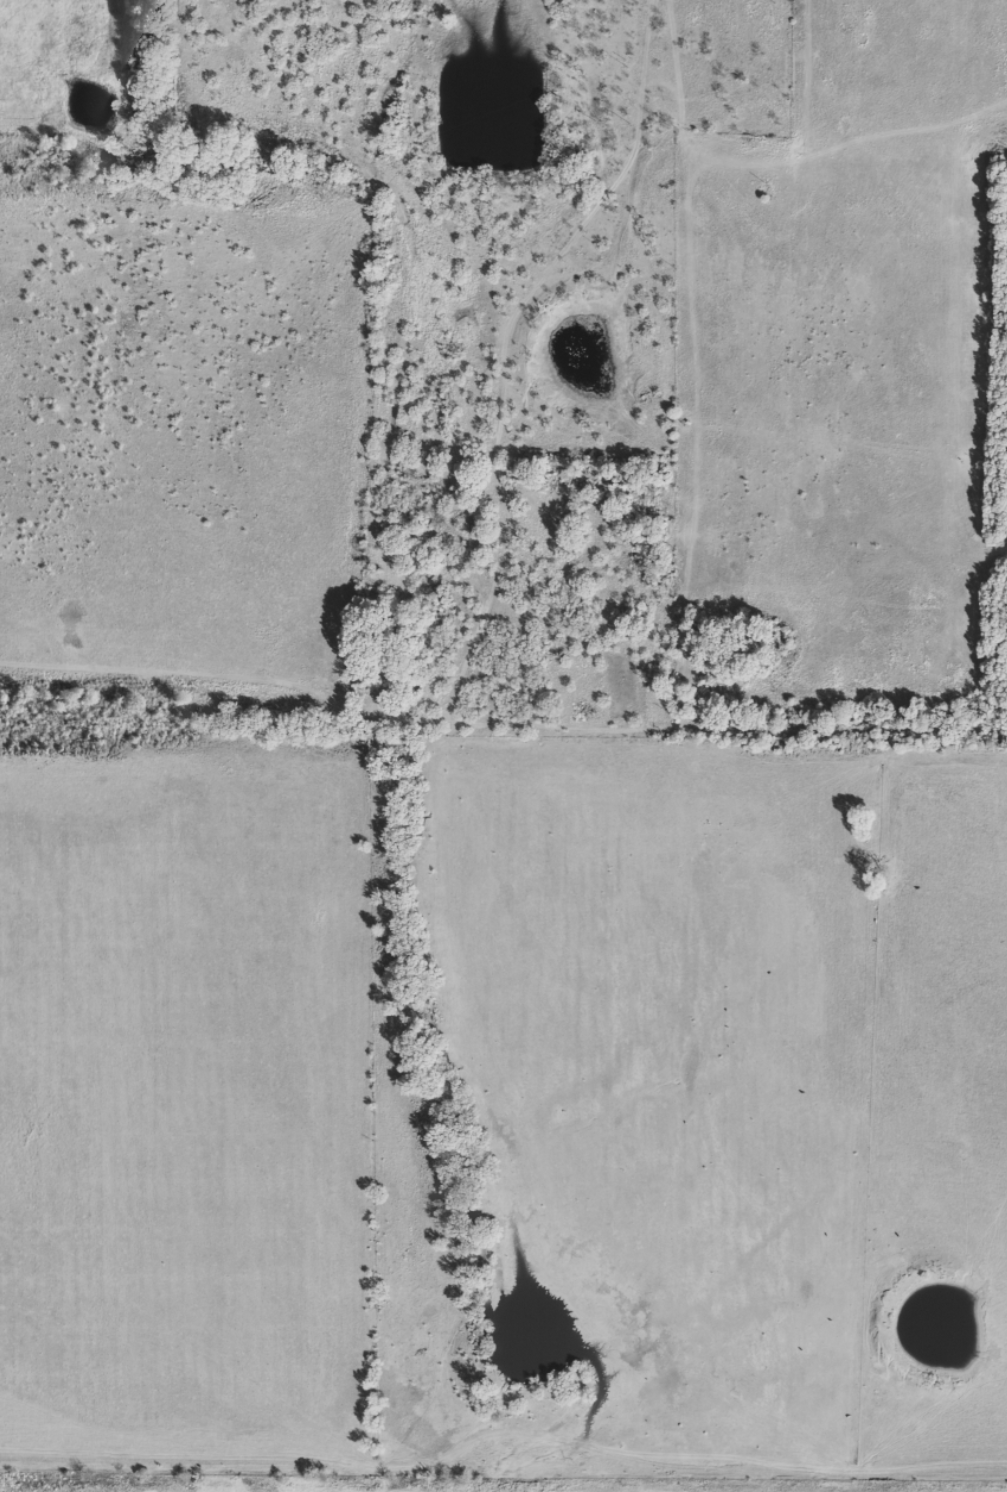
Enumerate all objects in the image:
road: (818, 1255)

